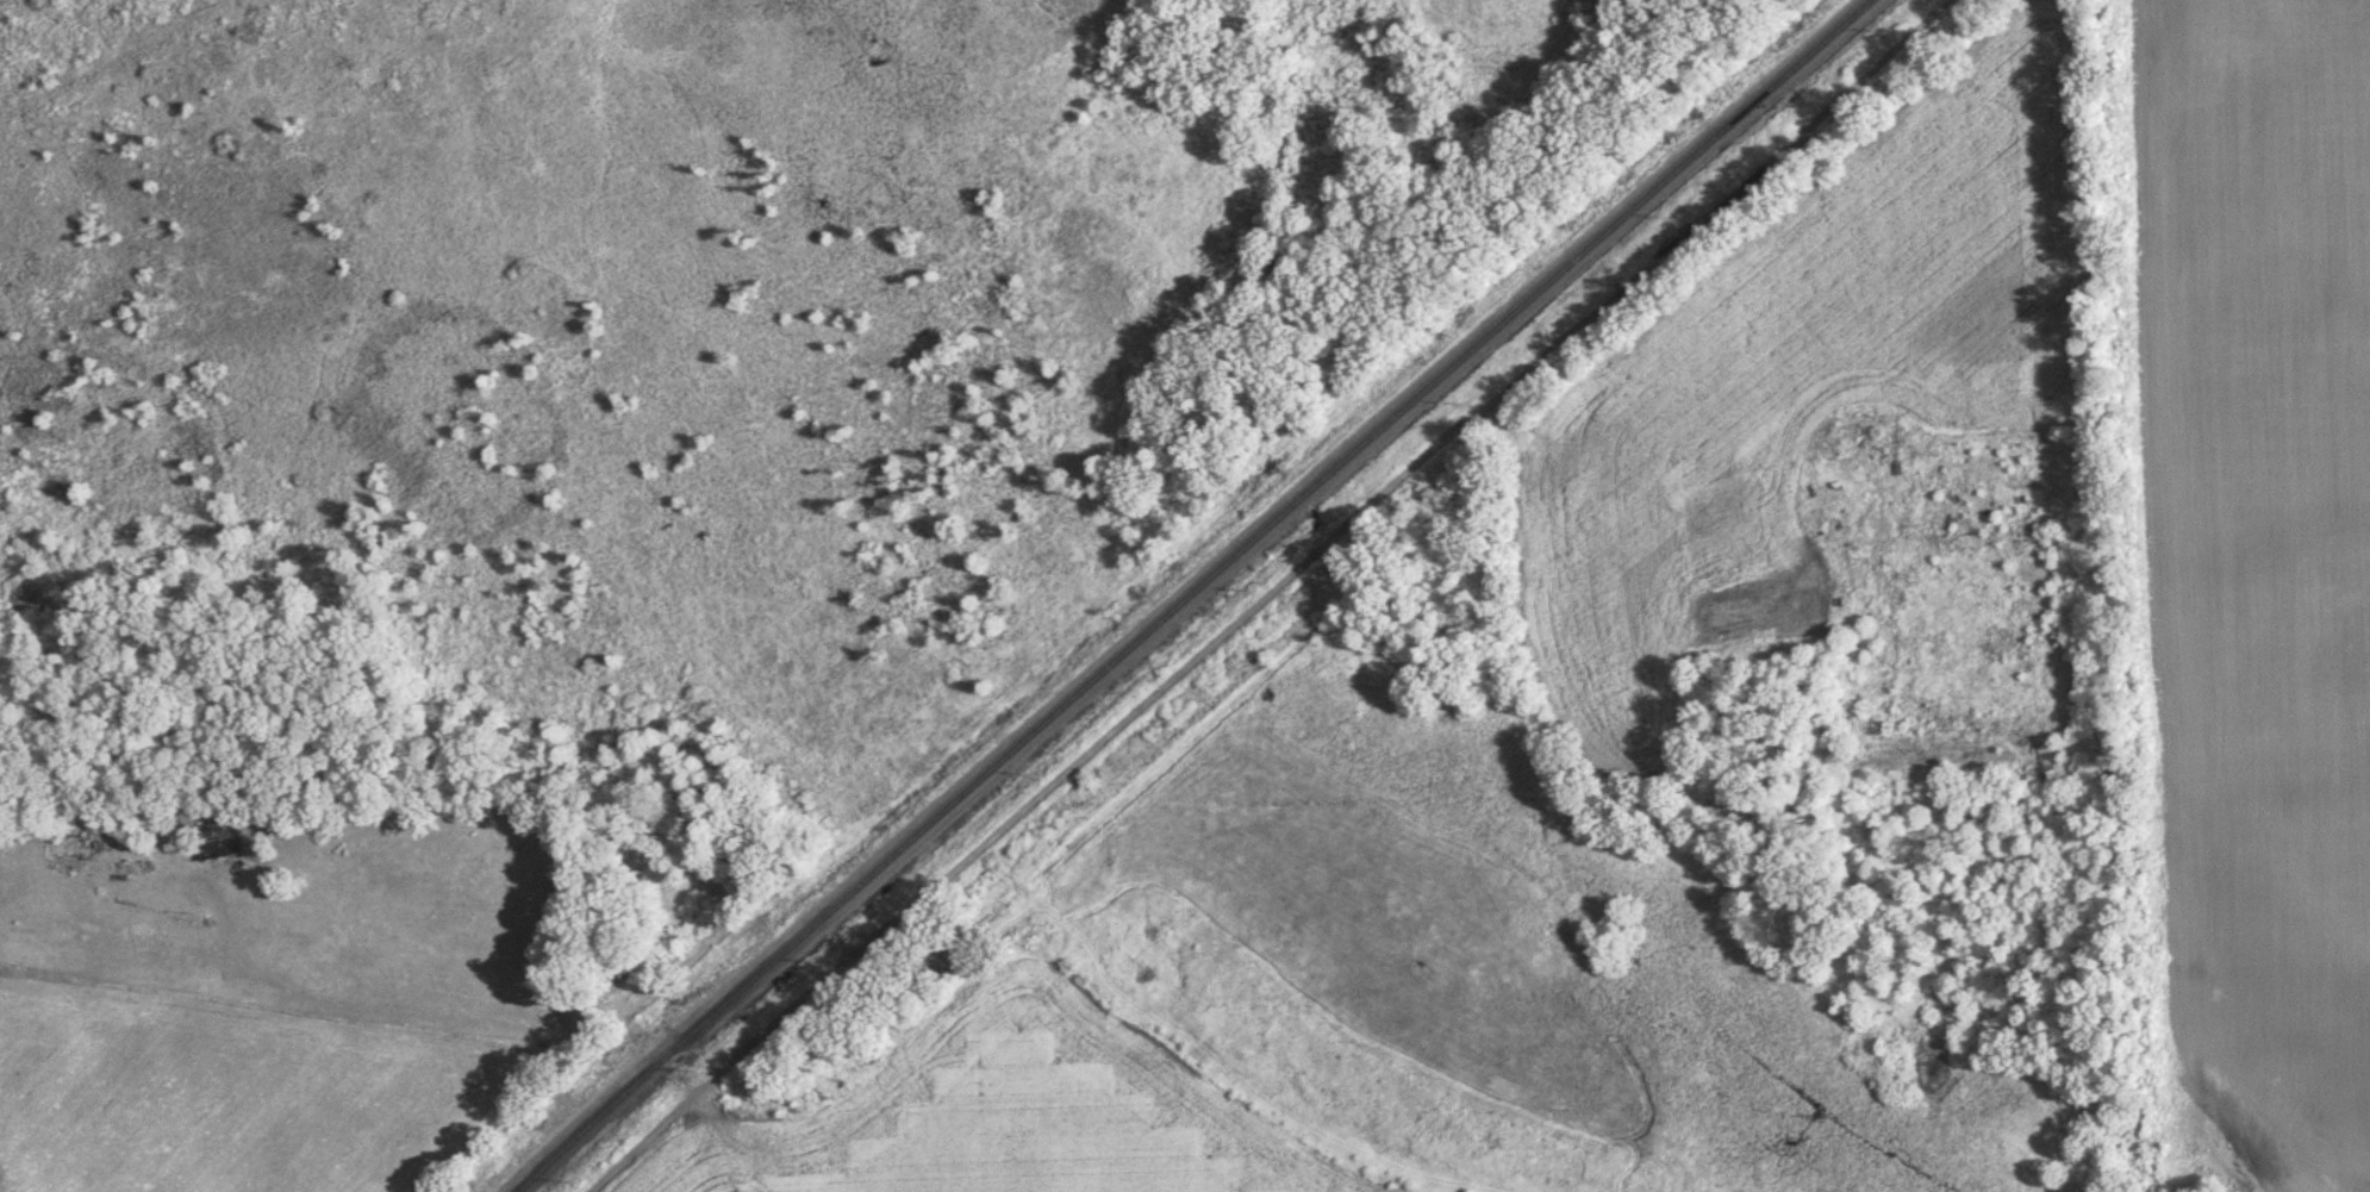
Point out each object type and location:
railway: (1197, 591)
road: (1272, 594)
building: (2064, 643)
building: (218, 842)
road: (429, 1013)

